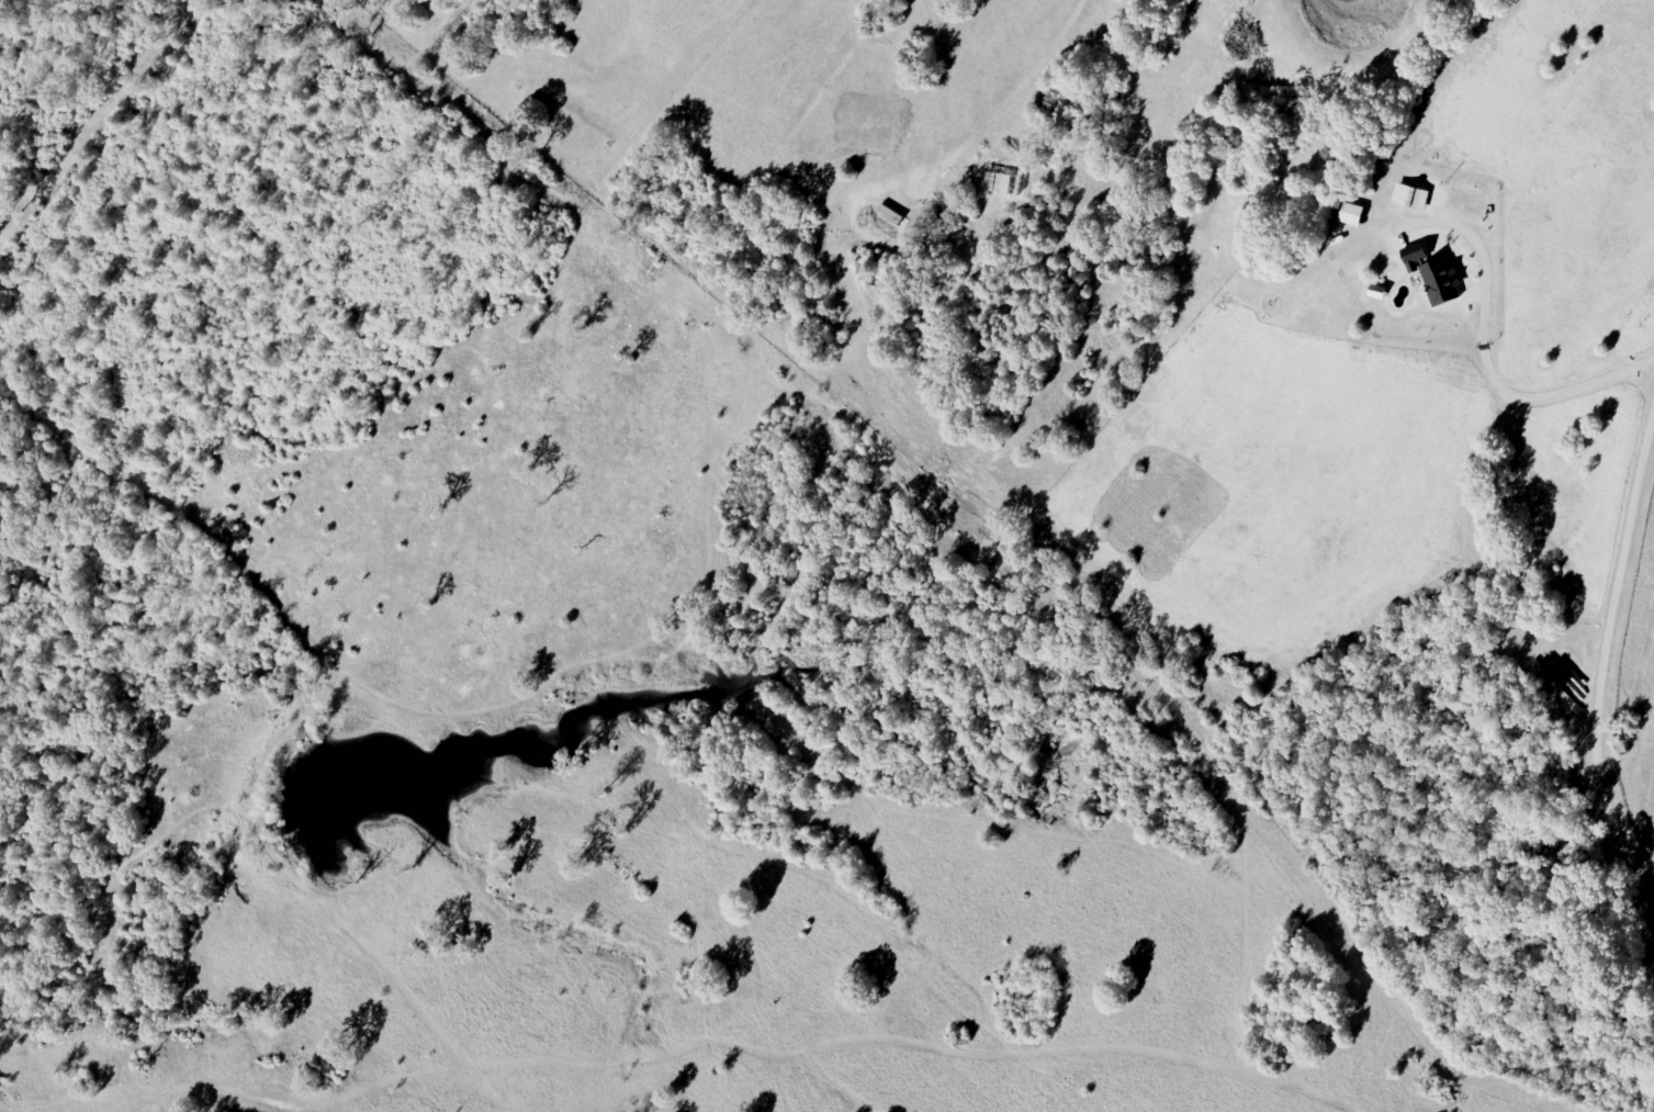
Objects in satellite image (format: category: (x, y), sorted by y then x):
building: (1410, 198)
building: (1351, 215)
building: (1436, 277)
road: (1486, 370)
road: (1602, 670)

